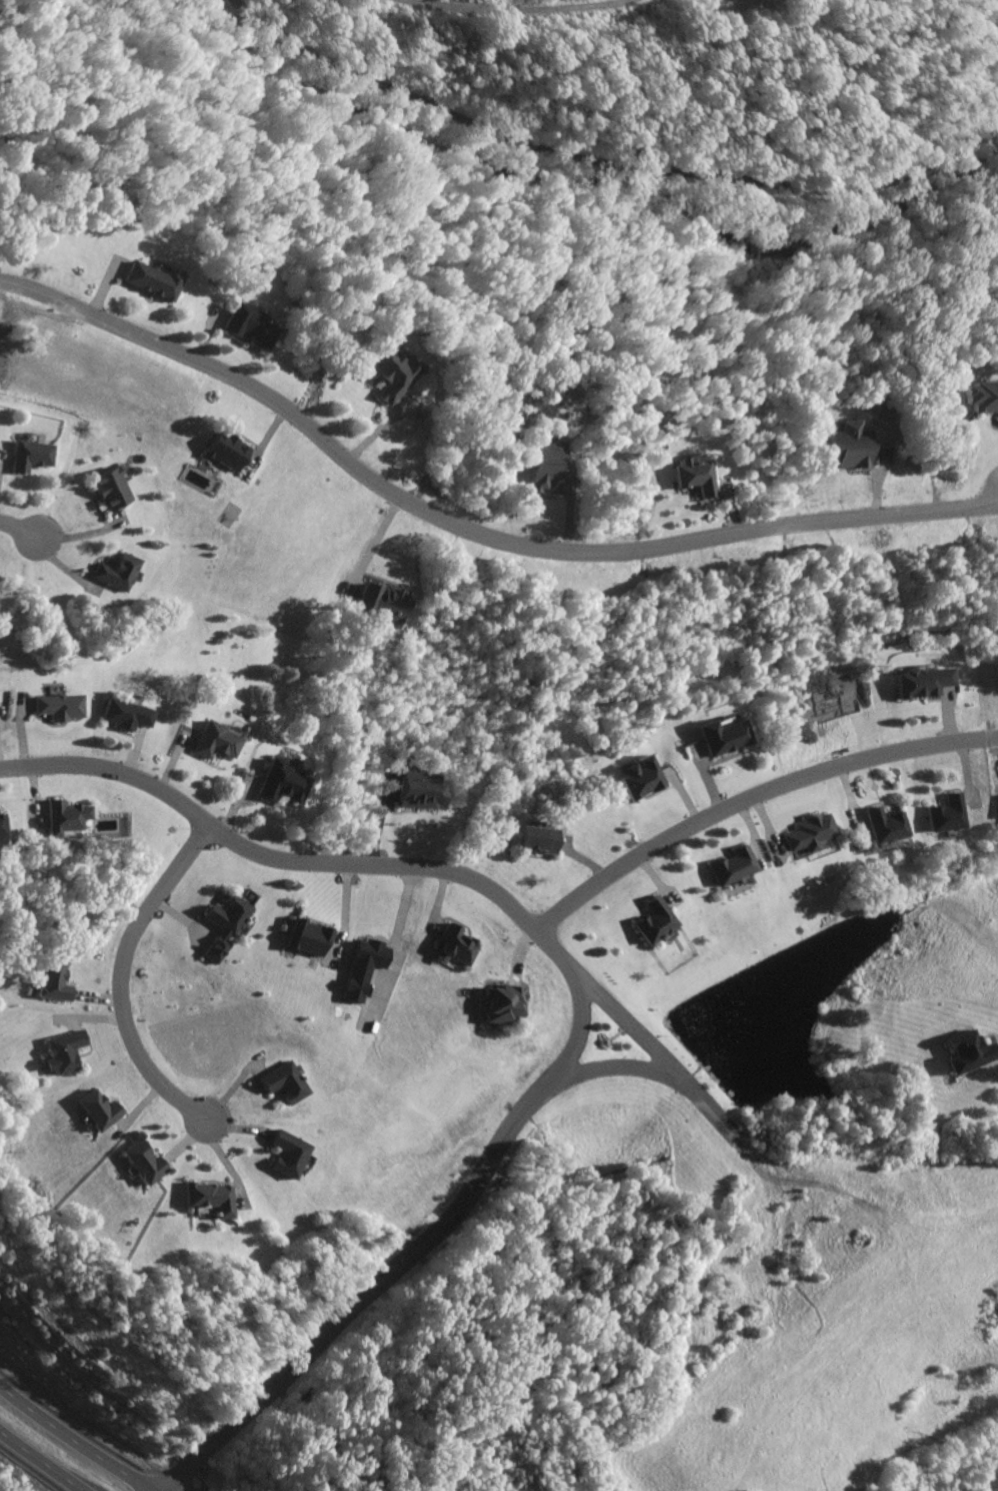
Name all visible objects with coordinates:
road: (517, 12)
road: (605, 162)
building: (151, 282)
building: (246, 328)
building: (388, 372)
building: (982, 399)
building: (846, 448)
building: (223, 454)
building: (31, 458)
building: (545, 469)
building: (694, 477)
building: (110, 491)
road: (20, 529)
road: (471, 530)
building: (120, 574)
building: (382, 607)
building: (923, 685)
building: (61, 709)
building: (128, 717)
building: (724, 739)
building: (218, 744)
building: (640, 780)
building: (283, 786)
building: (420, 792)
road: (750, 795)
building: (946, 816)
building: (67, 820)
building: (3, 828)
building: (884, 828)
building: (807, 835)
building: (535, 842)
building: (730, 869)
building: (655, 924)
building: (226, 928)
building: (307, 941)
building: (454, 949)
building: (362, 970)
road: (124, 976)
building: (54, 983)
road: (575, 996)
building: (500, 1007)
road: (648, 1049)
building: (62, 1054)
building: (969, 1055)
road: (611, 1070)
building: (284, 1085)
building: (96, 1113)
building: (286, 1157)
building: (143, 1165)
building: (209, 1201)
road: (76, 1432)
road: (40, 1459)

